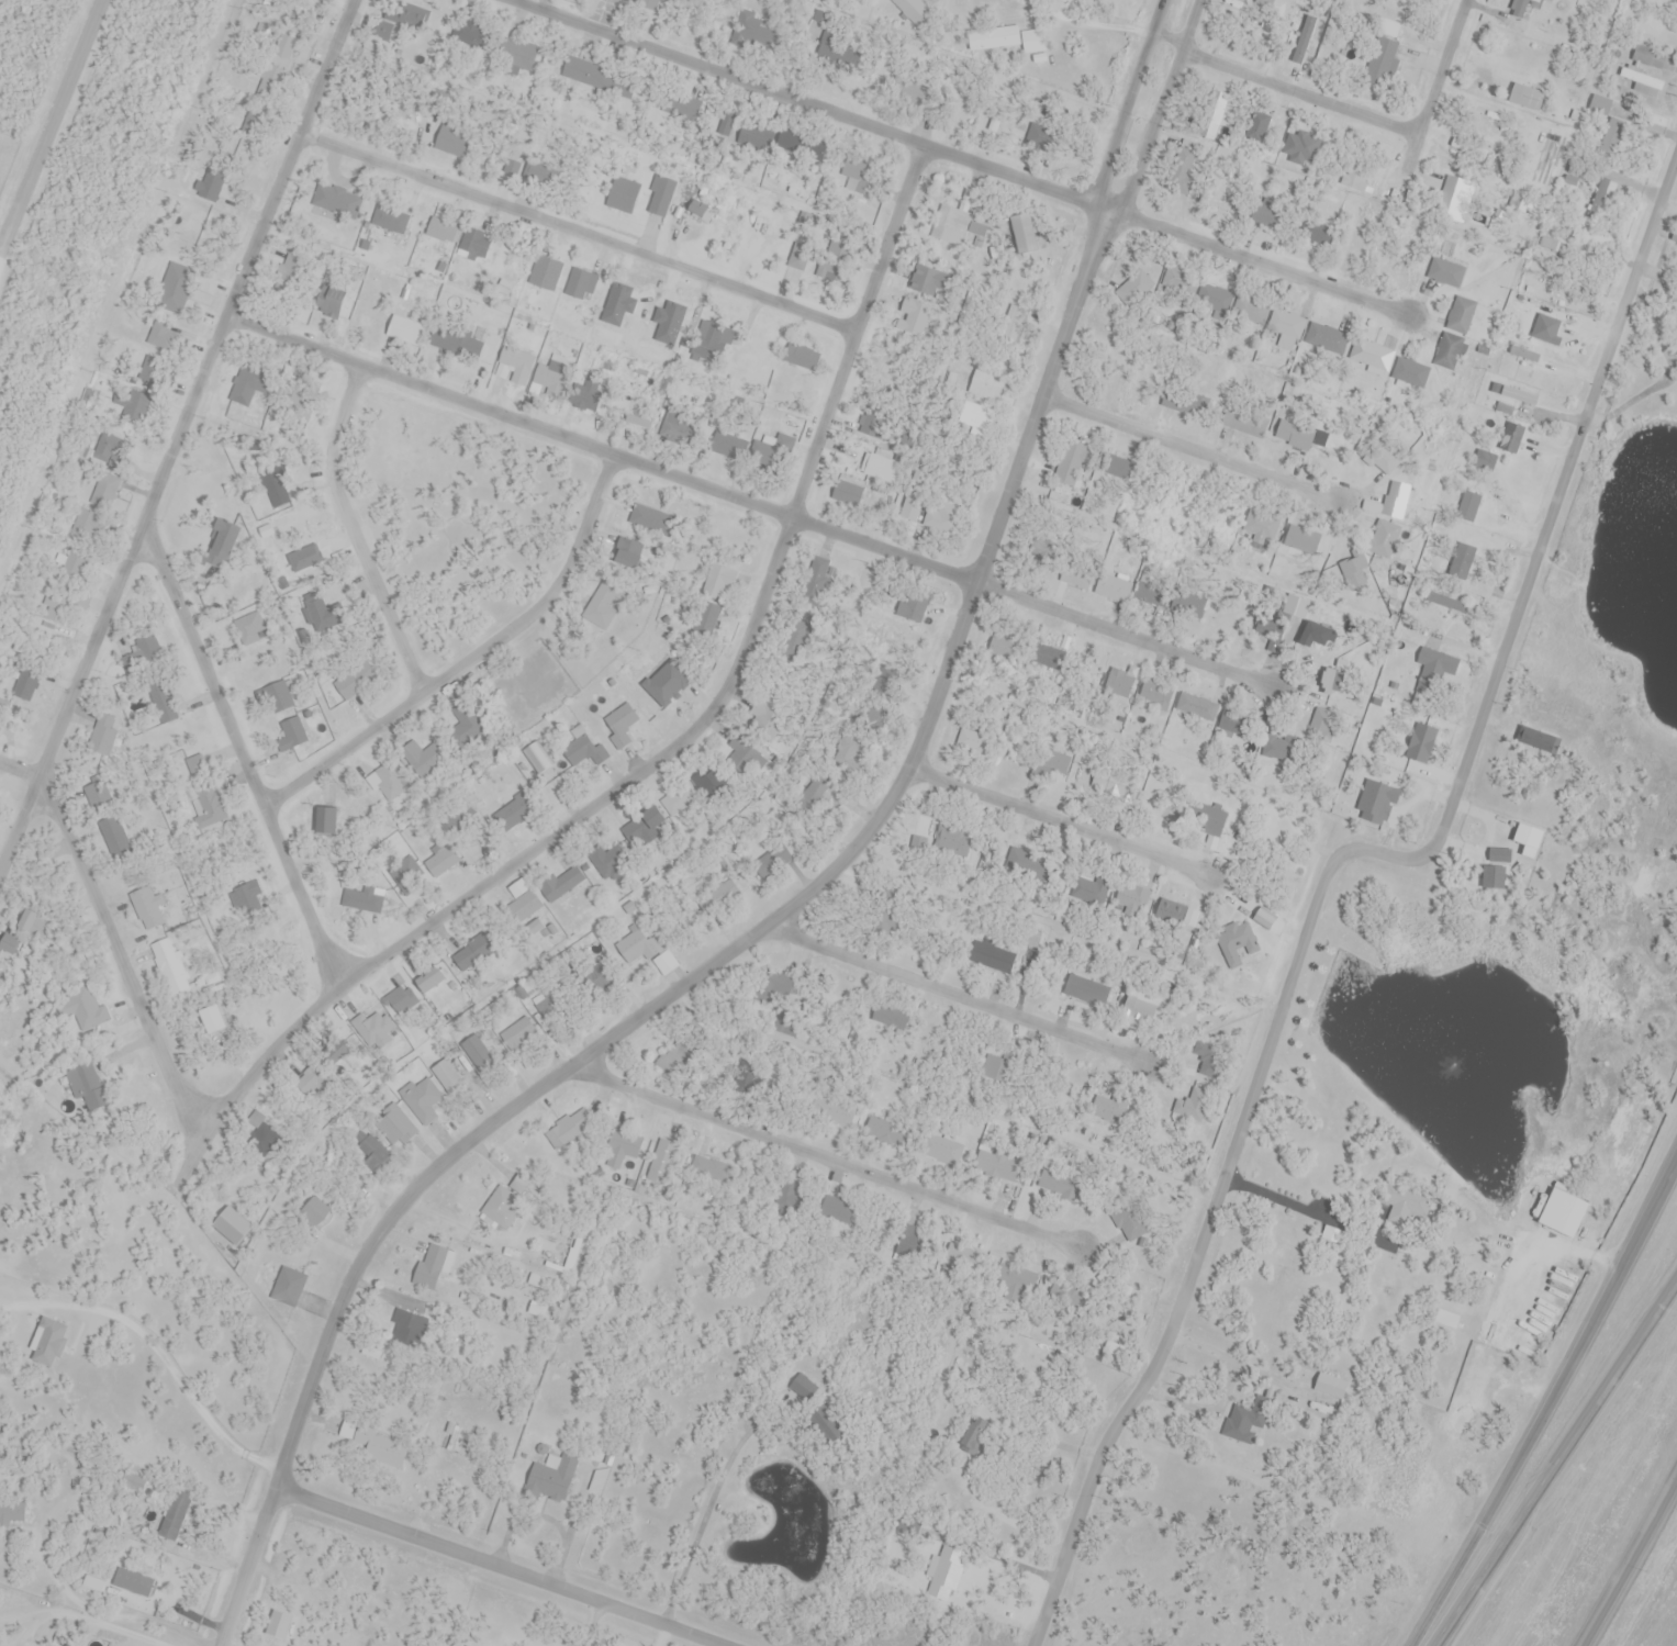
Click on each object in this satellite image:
building: (649, 4)
building: (908, 7)
building: (1519, 8)
road: (1091, 19)
building: (393, 27)
building: (997, 40)
building: (1648, 57)
building: (1384, 59)
road: (327, 67)
road: (1441, 68)
building: (1642, 81)
road: (1284, 87)
building: (1525, 98)
road: (44, 107)
building: (1610, 109)
building: (1212, 115)
building: (724, 130)
building: (758, 134)
building: (1609, 142)
building: (452, 144)
building: (802, 145)
road: (964, 157)
building: (858, 175)
building: (1355, 175)
building: (623, 195)
building: (660, 198)
building: (1455, 200)
building: (1602, 201)
building: (337, 202)
road: (1114, 203)
building: (1522, 203)
building: (697, 208)
building: (1256, 213)
building: (951, 226)
building: (443, 233)
building: (1022, 233)
road: (580, 234)
building: (1315, 235)
building: (471, 248)
building: (1445, 272)
building: (546, 275)
building: (927, 281)
building: (583, 287)
building: (166, 292)
building: (329, 302)
building: (1251, 313)
building: (1462, 315)
building: (914, 318)
building: (1544, 321)
building: (405, 331)
building: (1011, 331)
building: (1285, 331)
building: (160, 335)
building: (1327, 339)
building: (473, 349)
building: (1450, 352)
building: (1524, 355)
building: (1372, 356)
building: (800, 358)
building: (514, 367)
building: (153, 373)
building: (1410, 373)
building: (548, 378)
building: (987, 388)
building: (1519, 396)
building: (134, 408)
building: (975, 419)
building: (670, 423)
building: (1244, 423)
building: (1292, 430)
road: (1195, 450)
building: (1382, 459)
building: (1485, 460)
building: (1067, 466)
building: (1114, 467)
building: (882, 470)
building: (105, 492)
building: (1396, 501)
road: (748, 503)
road: (149, 505)
building: (1468, 506)
building: (910, 511)
building: (646, 519)
building: (1255, 530)
road: (357, 535)
building: (1385, 537)
building: (1298, 539)
building: (222, 540)
building: (74, 568)
building: (1353, 572)
building: (816, 578)
building: (718, 584)
building: (1116, 589)
building: (1246, 594)
building: (1446, 606)
building: (321, 608)
building: (602, 608)
building: (60, 609)
building: (249, 625)
building: (1315, 637)
building: (145, 651)
building: (1049, 659)
road: (474, 660)
building: (1428, 662)
building: (354, 680)
building: (1332, 683)
building: (1118, 684)
building: (29, 686)
building: (1156, 694)
building: (278, 697)
building: (161, 698)
building: (1197, 708)
building: (765, 721)
building: (621, 725)
building: (1232, 725)
building: (1319, 725)
building: (294, 734)
road: (696, 734)
building: (103, 736)
building: (969, 741)
building: (1279, 747)
building: (583, 752)
building: (851, 753)
building: (538, 758)
road: (245, 760)
building: (385, 784)
building: (680, 802)
building: (210, 810)
building: (512, 816)
building: (328, 821)
road: (1058, 822)
building: (646, 830)
building: (114, 835)
building: (948, 837)
building: (476, 839)
building: (1003, 848)
building: (444, 860)
road: (1333, 861)
building: (603, 863)
building: (1027, 865)
building: (561, 884)
building: (1087, 893)
building: (719, 895)
building: (246, 897)
building: (1127, 899)
building: (524, 907)
building: (149, 909)
building: (1173, 916)
road: (112, 936)
building: (1238, 944)
building: (9, 945)
building: (639, 948)
building: (472, 956)
building: (992, 958)
road: (714, 963)
building: (170, 967)
building: (589, 979)
building: (429, 981)
building: (770, 982)
building: (1086, 992)
road: (954, 993)
building: (401, 1001)
building: (1139, 1009)
building: (82, 1010)
building: (554, 1010)
building: (891, 1017)
building: (782, 1028)
building: (378, 1032)
building: (519, 1037)
building: (1204, 1050)
building: (476, 1057)
building: (344, 1062)
building: (995, 1071)
building: (448, 1078)
building: (83, 1085)
building: (423, 1101)
building: (1103, 1110)
building: (832, 1112)
building: (1188, 1112)
building: (395, 1128)
building: (881, 1129)
building: (564, 1133)
building: (262, 1138)
building: (625, 1145)
building: (940, 1150)
building: (370, 1154)
road: (823, 1155)
road: (194, 1160)
building: (996, 1168)
building: (711, 1169)
building: (1055, 1185)
building: (786, 1197)
building: (836, 1211)
building: (500, 1212)
building: (1128, 1224)
building: (231, 1227)
building: (567, 1255)
building: (960, 1258)
building: (431, 1267)
building: (1016, 1279)
building: (287, 1288)
building: (406, 1335)
building: (48, 1345)
building: (1330, 1387)
building: (803, 1390)
road: (1550, 1407)
building: (818, 1426)
building: (975, 1438)
building: (377, 1445)
road: (1551, 1463)
building: (550, 1480)
building: (133, 1485)
building: (11, 1512)
road: (1629, 1558)
building: (937, 1563)
road: (496, 1567)

